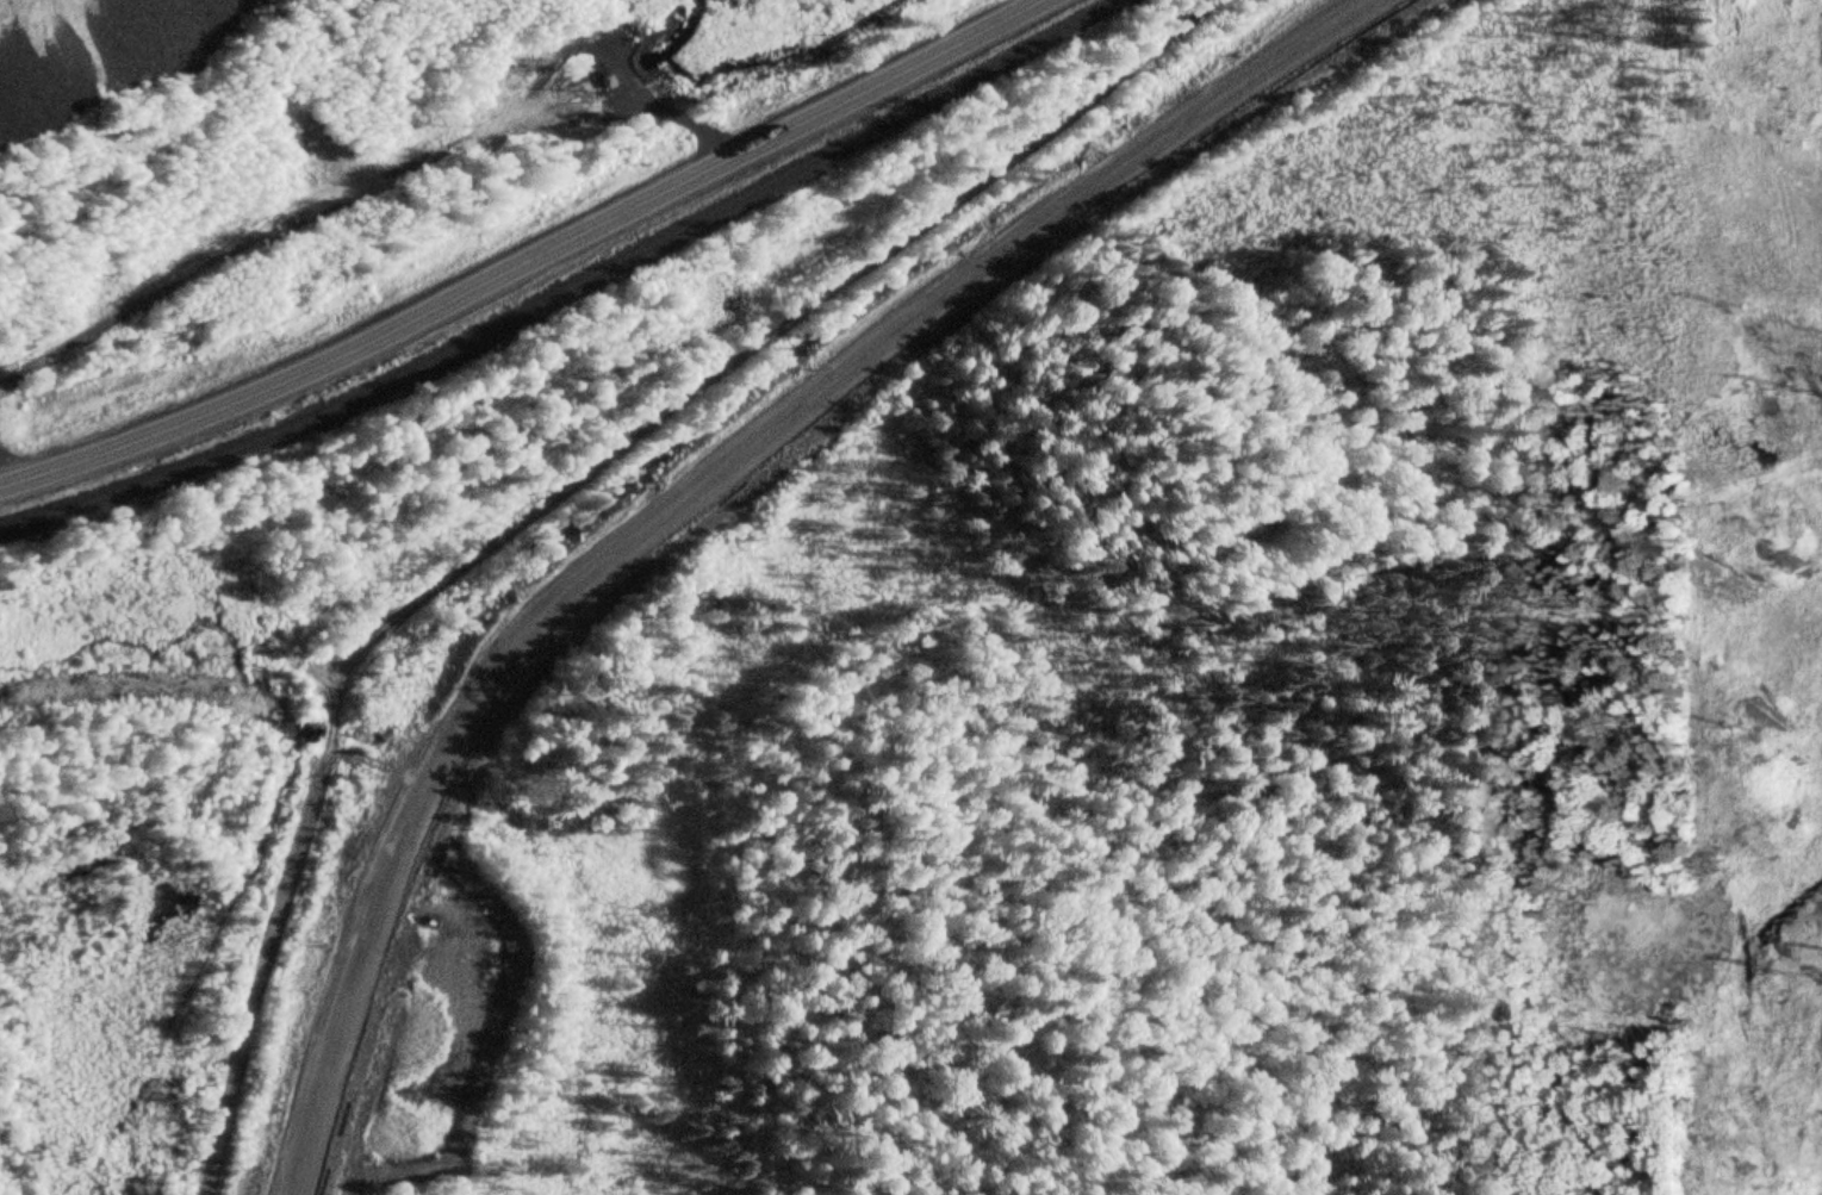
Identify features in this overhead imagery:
quarry: (101, 45)
road: (522, 262)
railway: (559, 290)
road: (663, 503)

